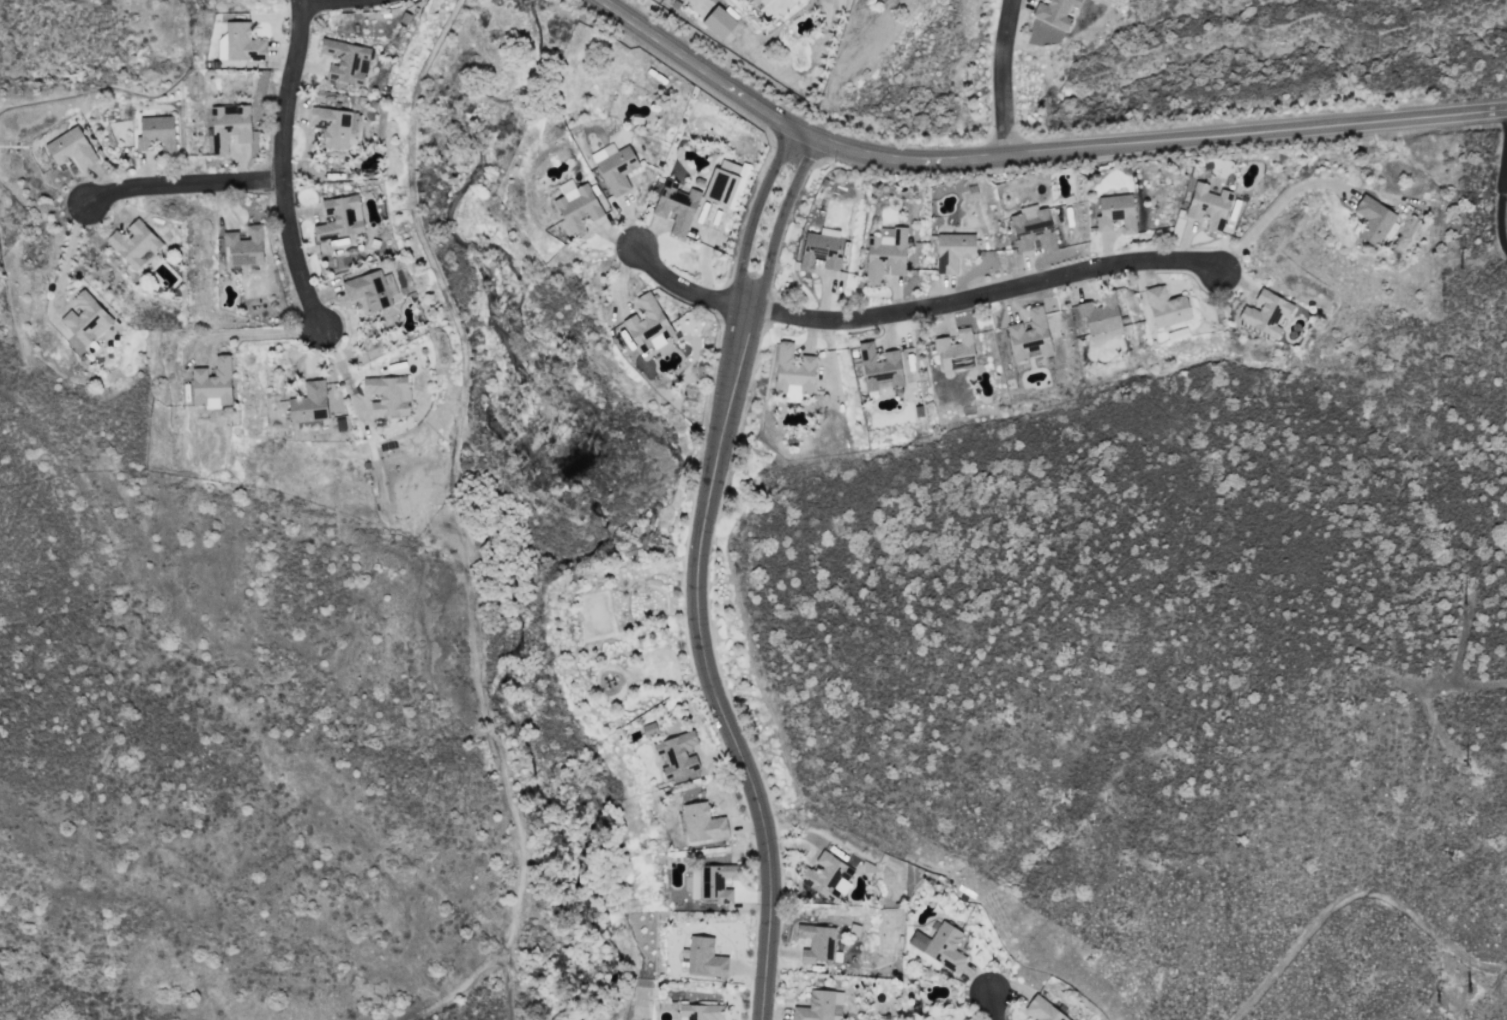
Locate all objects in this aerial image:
building: (753, 1)
building: (1073, 1)
road: (318, 2)
building: (718, 21)
building: (238, 43)
building: (345, 60)
road: (704, 69)
road: (1004, 77)
building: (333, 125)
building: (228, 126)
building: (155, 133)
road: (1154, 142)
building: (70, 148)
road: (284, 164)
building: (614, 166)
building: (721, 182)
road: (184, 185)
road: (1499, 197)
building: (1207, 205)
building: (575, 206)
building: (675, 206)
road: (1272, 210)
building: (1115, 212)
building: (339, 217)
building: (1374, 220)
building: (1033, 231)
building: (133, 243)
building: (243, 246)
road: (61, 247)
building: (819, 249)
building: (952, 250)
building: (884, 253)
building: (366, 291)
building: (1165, 306)
road: (921, 309)
building: (1100, 313)
building: (1265, 313)
building: (85, 317)
building: (647, 324)
road: (261, 332)
building: (1033, 333)
building: (955, 350)
building: (878, 367)
building: (793, 371)
road: (341, 373)
building: (211, 384)
building: (386, 395)
building: (308, 402)
building: (339, 422)
road: (450, 502)
road: (693, 575)
park: (640, 667)
road: (1467, 685)
building: (648, 729)
building: (676, 753)
building: (701, 822)
building: (826, 876)
road: (1352, 893)
building: (817, 943)
building: (939, 945)
building: (702, 957)
road: (1454, 984)
building: (819, 1006)
road: (994, 1007)
building: (1043, 1010)
building: (699, 1011)

